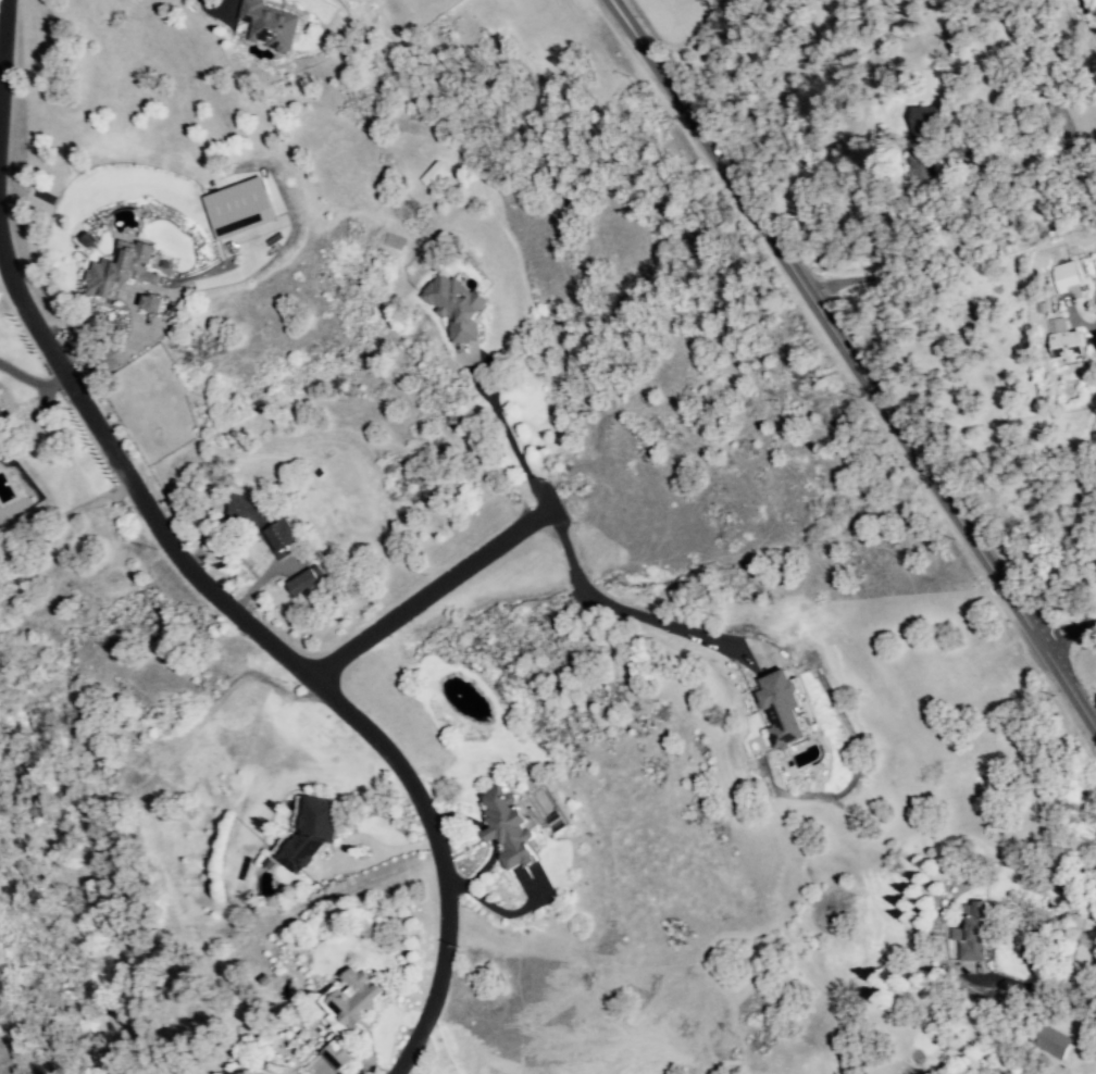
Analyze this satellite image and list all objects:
building: (267, 25)
road: (2, 70)
building: (1061, 124)
building: (922, 148)
building: (433, 175)
building: (239, 208)
building: (120, 268)
building: (1069, 278)
building: (153, 303)
building: (454, 307)
road: (1092, 336)
building: (1063, 340)
road: (858, 363)
road: (34, 383)
building: (0, 419)
road: (507, 440)
building: (246, 511)
building: (304, 582)
road: (431, 594)
road: (620, 612)
road: (1067, 632)
road: (282, 659)
building: (781, 709)
building: (508, 827)
building: (308, 832)
building: (970, 933)
road: (1036, 994)
building: (347, 1012)
building: (1049, 1040)

